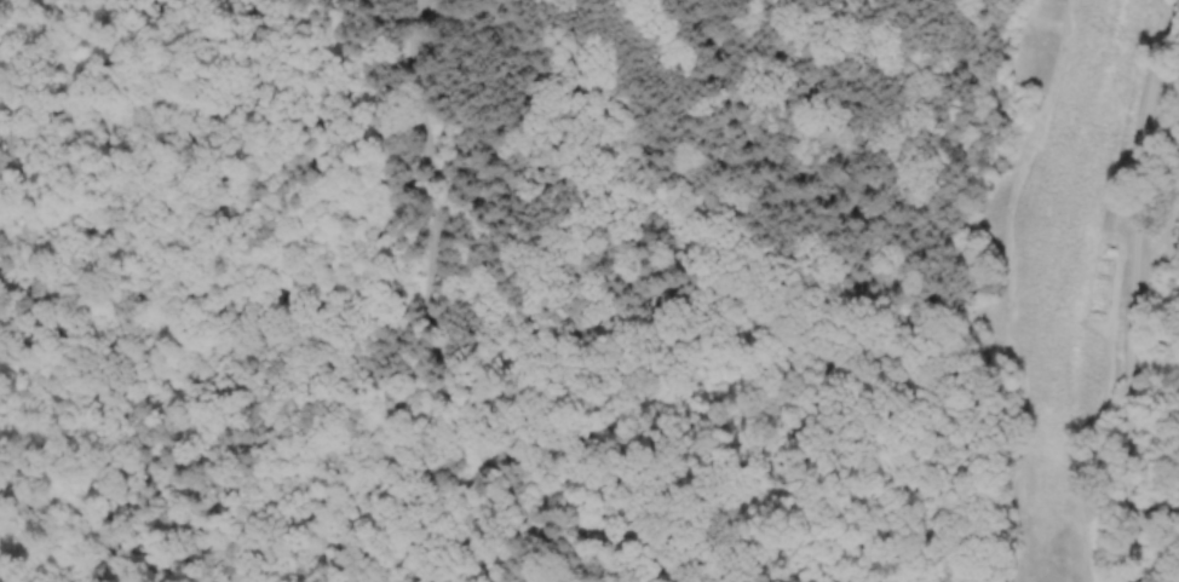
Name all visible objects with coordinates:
road: (1127, 287)

